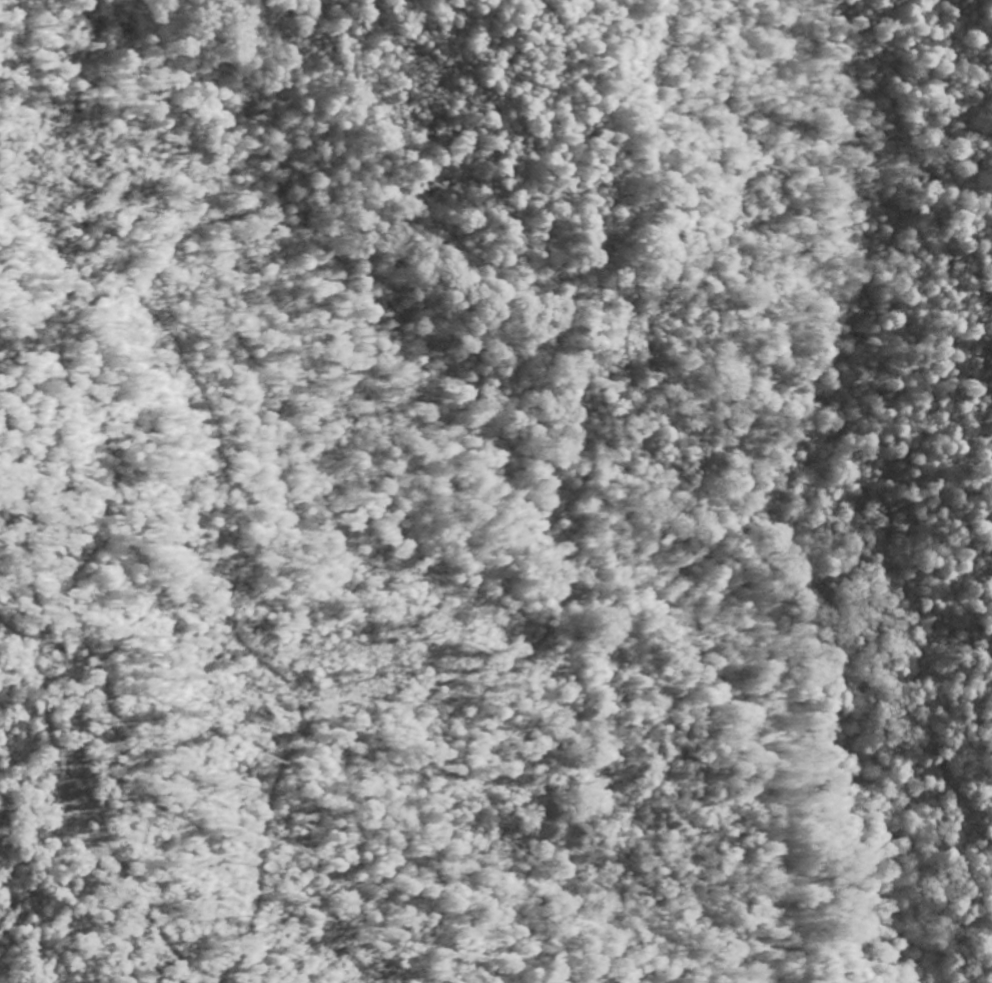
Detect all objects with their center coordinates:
road: (51, 774)

